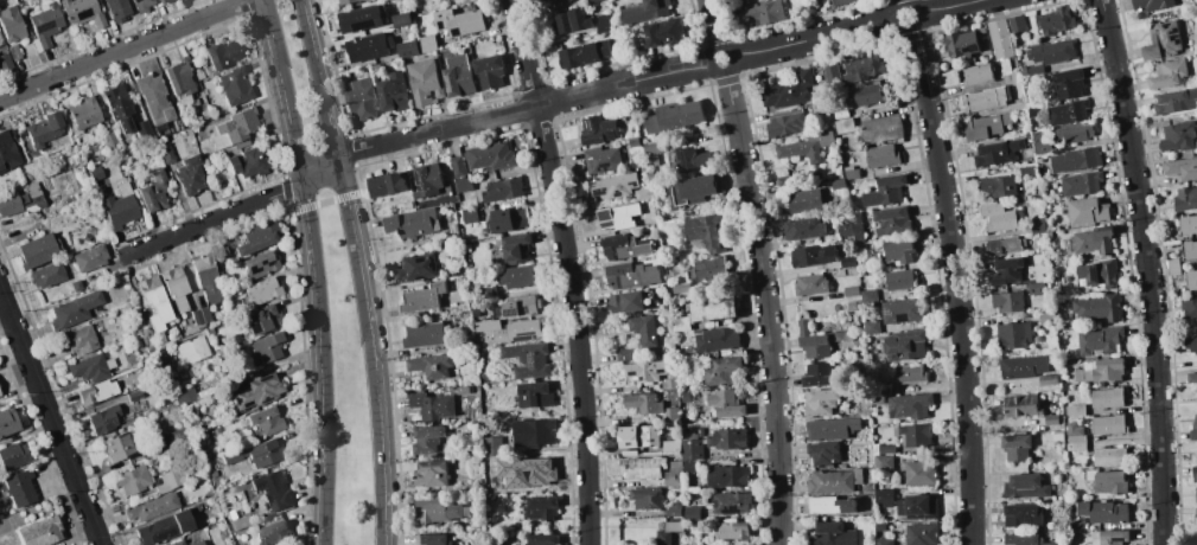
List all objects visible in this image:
building: (182, 0)
building: (445, 0)
building: (164, 1)
building: (185, 1)
building: (553, 1)
building: (592, 1)
building: (843, 1)
building: (349, 2)
road: (906, 4)
building: (142, 5)
building: (1153, 5)
road: (908, 6)
road: (951, 7)
building: (117, 9)
building: (83, 12)
building: (644, 12)
building: (764, 12)
building: (364, 17)
building: (402, 20)
building: (571, 20)
building: (1055, 20)
building: (461, 23)
building: (605, 23)
building: (12, 24)
road: (715, 24)
building: (1015, 24)
building: (44, 25)
building: (981, 31)
building: (664, 32)
road: (817, 39)
building: (1000, 39)
building: (1163, 40)
building: (427, 44)
building: (962, 44)
building: (368, 47)
road: (123, 49)
building: (407, 49)
road: (721, 50)
building: (14, 52)
building: (1051, 52)
building: (582, 53)
building: (221, 54)
building: (5, 62)
building: (1021, 68)
building: (864, 69)
building: (1034, 69)
building: (490, 70)
building: (830, 73)
building: (1169, 73)
building: (976, 75)
building: (458, 76)
building: (179, 78)
building: (1011, 78)
building: (425, 82)
building: (1069, 83)
building: (236, 84)
building: (789, 90)
building: (394, 92)
building: (865, 95)
building: (153, 97)
building: (361, 98)
building: (985, 98)
building: (196, 102)
building: (1172, 102)
building: (1017, 104)
building: (119, 105)
building: (821, 108)
road: (524, 110)
building: (1069, 111)
building: (84, 113)
building: (841, 114)
building: (206, 115)
building: (674, 116)
building: (787, 126)
building: (845, 126)
building: (985, 127)
building: (43, 129)
building: (236, 129)
building: (881, 129)
building: (144, 130)
building: (598, 130)
building: (622, 134)
building: (1074, 134)
building: (1178, 136)
building: (636, 141)
building: (1039, 143)
building: (806, 147)
building: (8, 152)
building: (997, 152)
building: (652, 153)
building: (167, 154)
building: (881, 155)
building: (490, 156)
building: (601, 160)
building: (686, 160)
building: (1076, 160)
building: (248, 162)
building: (1183, 167)
road: (319, 168)
building: (1040, 168)
building: (892, 169)
building: (1027, 171)
building: (96, 172)
building: (851, 173)
building: (190, 174)
building: (460, 174)
building: (1161, 179)
building: (783, 180)
building: (429, 182)
building: (838, 184)
building: (1081, 184)
building: (384, 185)
building: (615, 185)
building: (815, 185)
building: (998, 186)
building: (1036, 188)
building: (502, 190)
building: (693, 190)
building: (154, 191)
building: (885, 191)
building: (643, 194)
building: (33, 198)
building: (1186, 199)
building: (804, 201)
building: (12, 203)
building: (407, 205)
building: (120, 207)
building: (1088, 211)
building: (469, 217)
building: (618, 217)
building: (855, 218)
building: (1001, 218)
road: (215, 219)
building: (508, 219)
building: (893, 222)
building: (1165, 222)
building: (413, 223)
building: (1188, 224)
building: (1040, 225)
building: (454, 227)
building: (803, 229)
building: (845, 229)
building: (706, 232)
building: (858, 232)
building: (257, 237)
building: (1095, 241)
building: (1005, 245)
building: (624, 246)
building: (465, 248)
building: (516, 248)
building: (38, 250)
building: (898, 251)
building: (1189, 251)
building: (813, 255)
building: (90, 258)
building: (847, 262)
building: (260, 264)
building: (1172, 267)
building: (415, 268)
road: (358, 269)
road: (569, 269)
building: (707, 269)
road: (313, 270)
building: (1006, 270)
road: (1150, 270)
building: (130, 274)
building: (1099, 274)
building: (49, 275)
building: (632, 275)
building: (518, 276)
building: (206, 277)
building: (72, 278)
building: (900, 280)
building: (1191, 280)
building: (810, 284)
road: (959, 284)
building: (176, 288)
building: (680, 288)
building: (1036, 288)
building: (263, 289)
building: (851, 290)
building: (489, 291)
building: (867, 296)
building: (422, 297)
building: (629, 301)
building: (154, 302)
building: (1007, 302)
building: (522, 306)
road: (766, 307)
building: (851, 307)
building: (1189, 307)
building: (1099, 308)
building: (458, 309)
building: (712, 309)
building: (902, 310)
building: (70, 312)
building: (475, 313)
building: (202, 315)
building: (1048, 318)
building: (263, 319)
road: (6, 322)
building: (681, 323)
building: (486, 325)
building: (663, 327)
building: (803, 327)
building: (872, 327)
building: (98, 329)
building: (643, 329)
building: (136, 331)
building: (520, 332)
building: (424, 334)
building: (1014, 335)
building: (840, 336)
building: (78, 339)
building: (715, 340)
building: (1100, 340)
building: (1191, 342)
building: (906, 345)
building: (268, 346)
building: (815, 346)
building: (192, 348)
building: (625, 355)
building: (528, 360)
building: (168, 363)
building: (431, 365)
building: (158, 366)
building: (91, 367)
building: (1017, 367)
building: (1103, 370)
building: (645, 371)
building: (721, 371)
building: (816, 374)
building: (910, 374)
building: (484, 378)
building: (1191, 378)
building: (1048, 379)
building: (669, 383)
building: (434, 385)
building: (682, 385)
building: (1063, 386)
building: (880, 390)
building: (257, 391)
building: (463, 391)
building: (0, 392)
building: (97, 392)
building: (135, 395)
building: (186, 395)
building: (534, 395)
building: (685, 397)
building: (1107, 397)
building: (877, 399)
building: (866, 400)
building: (821, 402)
building: (644, 404)
building: (726, 404)
building: (432, 405)
building: (910, 405)
building: (1021, 406)
building: (1075, 410)
building: (671, 413)
building: (469, 415)
road: (51, 416)
building: (103, 419)
building: (267, 421)
building: (1051, 421)
building: (7, 422)
building: (1109, 424)
building: (832, 429)
building: (1074, 429)
building: (1193, 429)
building: (536, 434)
building: (700, 434)
building: (688, 435)
building: (915, 435)
building: (638, 436)
building: (1057, 436)
building: (727, 438)
building: (427, 440)
building: (163, 443)
building: (1076, 443)
building: (492, 445)
building: (119, 447)
building: (1015, 447)
building: (685, 448)
building: (881, 449)
building: (629, 453)
building: (650, 453)
building: (823, 453)
building: (256, 454)
building: (12, 455)
building: (1109, 456)
building: (883, 461)
building: (842, 466)
building: (642, 467)
building: (689, 467)
building: (212, 473)
building: (539, 473)
building: (919, 473)
building: (432, 474)
building: (674, 474)
building: (1195, 474)
building: (727, 476)
building: (133, 480)
building: (170, 481)
building: (834, 481)
building: (1108, 482)
building: (1025, 487)
building: (20, 488)
building: (274, 490)
building: (1196, 495)
building: (199, 498)
building: (645, 498)
building: (884, 498)
building: (731, 502)
building: (829, 506)
building: (153, 507)
building: (918, 507)
building: (541, 508)
building: (674, 509)
building: (438, 511)
building: (1103, 512)
building: (692, 513)
building: (1023, 515)
building: (1195, 515)
building: (1075, 521)
building: (241, 522)
building: (1061, 522)
building: (167, 525)
building: (880, 526)
building: (40, 531)
building: (732, 531)
building: (274, 532)
building: (668, 532)
building: (1045, 532)
building: (833, 534)
building: (922, 534)
building: (1109, 537)
building: (432, 539)
building: (542, 539)
building: (1026, 539)
building: (885, 541)
building: (177, 543)
building: (196, 543)

